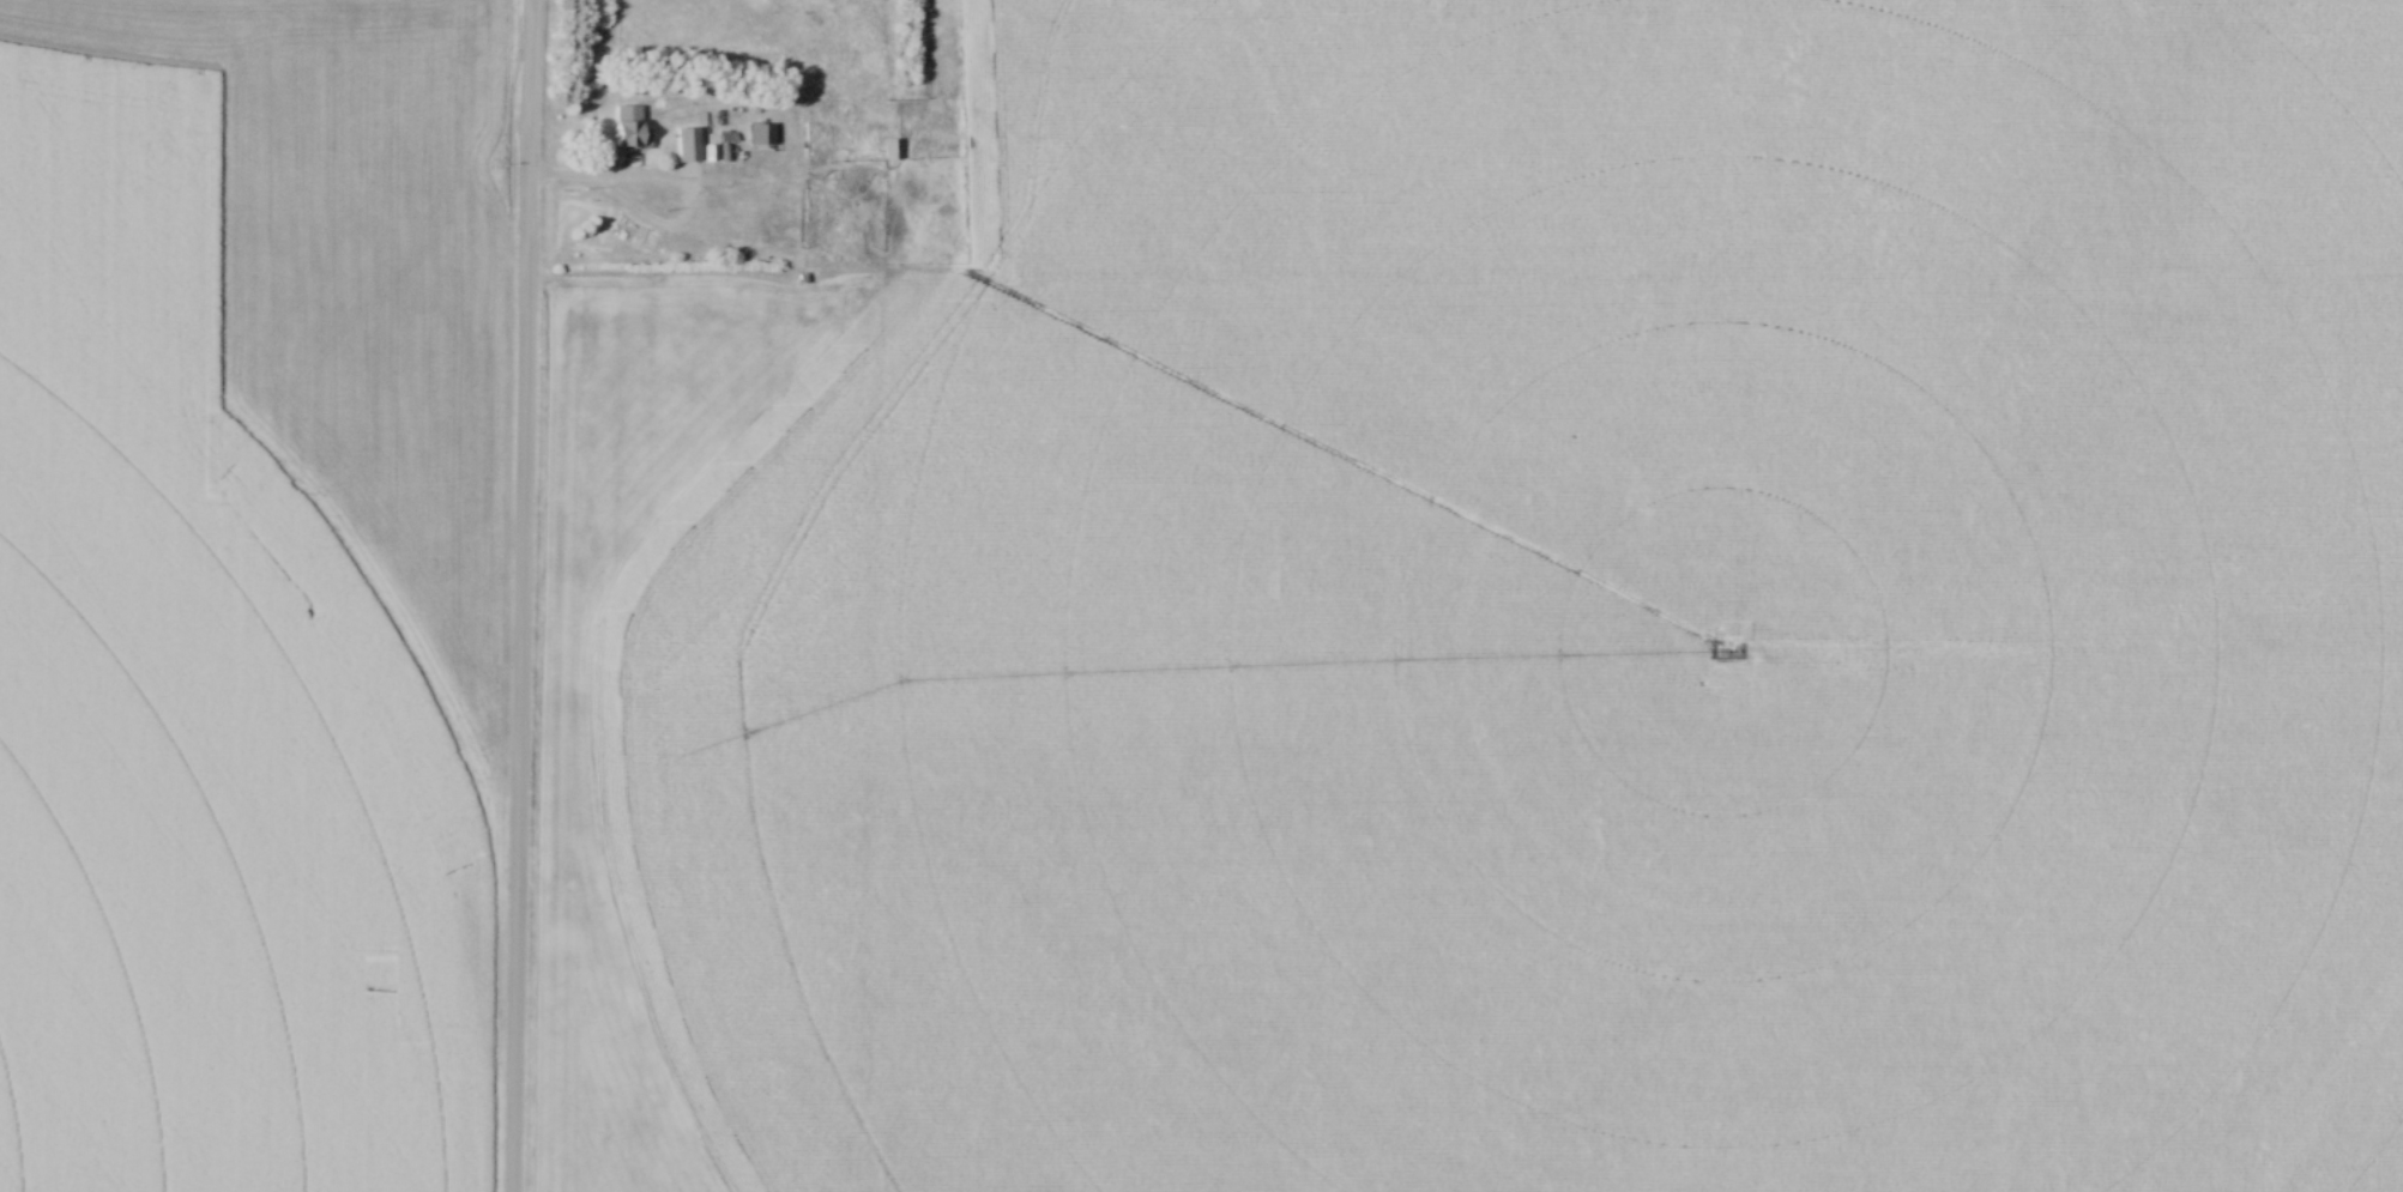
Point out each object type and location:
building: (633, 128)
building: (762, 134)
building: (689, 145)
building: (890, 150)
road: (518, 595)

